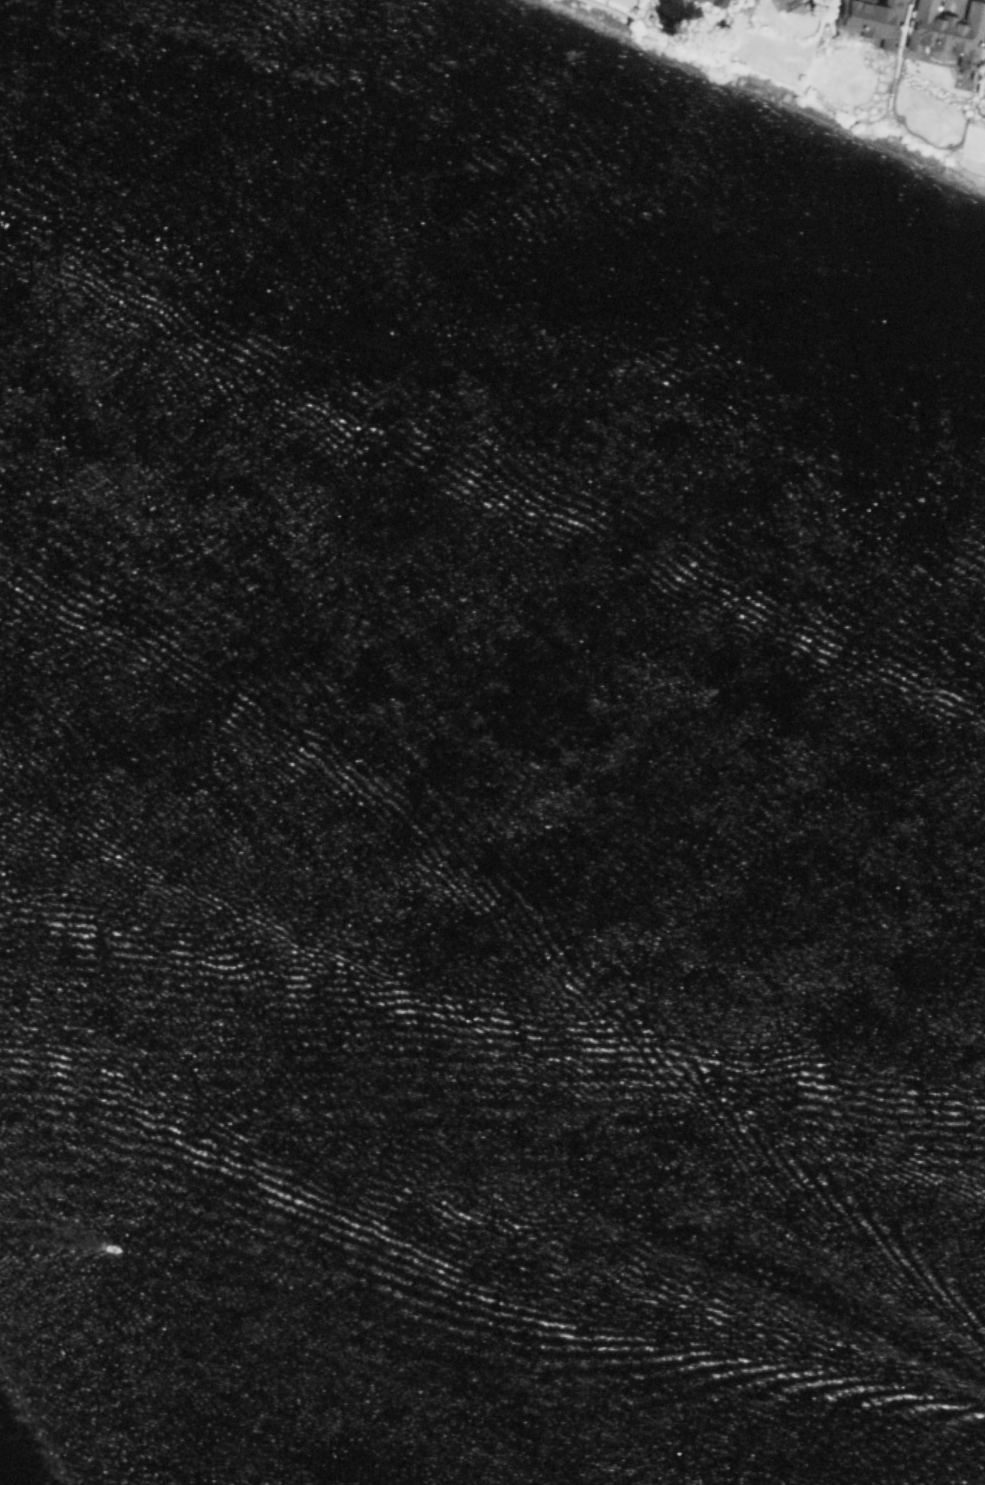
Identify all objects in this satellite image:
building: (706, 0)
building: (715, 1)
building: (783, 3)
building: (872, 19)
building: (946, 32)
building: (983, 72)
river: (492, 767)

